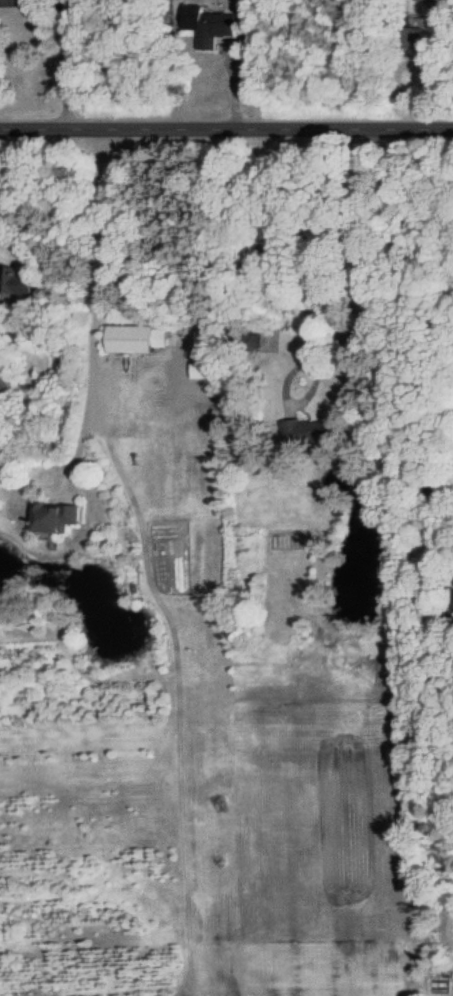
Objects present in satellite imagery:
building: (429, 0)
building: (11, 4)
road: (433, 24)
building: (208, 26)
building: (415, 39)
road: (57, 63)
road: (226, 128)
building: (14, 282)
road: (96, 299)
road: (361, 319)
building: (134, 340)
building: (305, 432)
road: (413, 438)
building: (54, 518)

